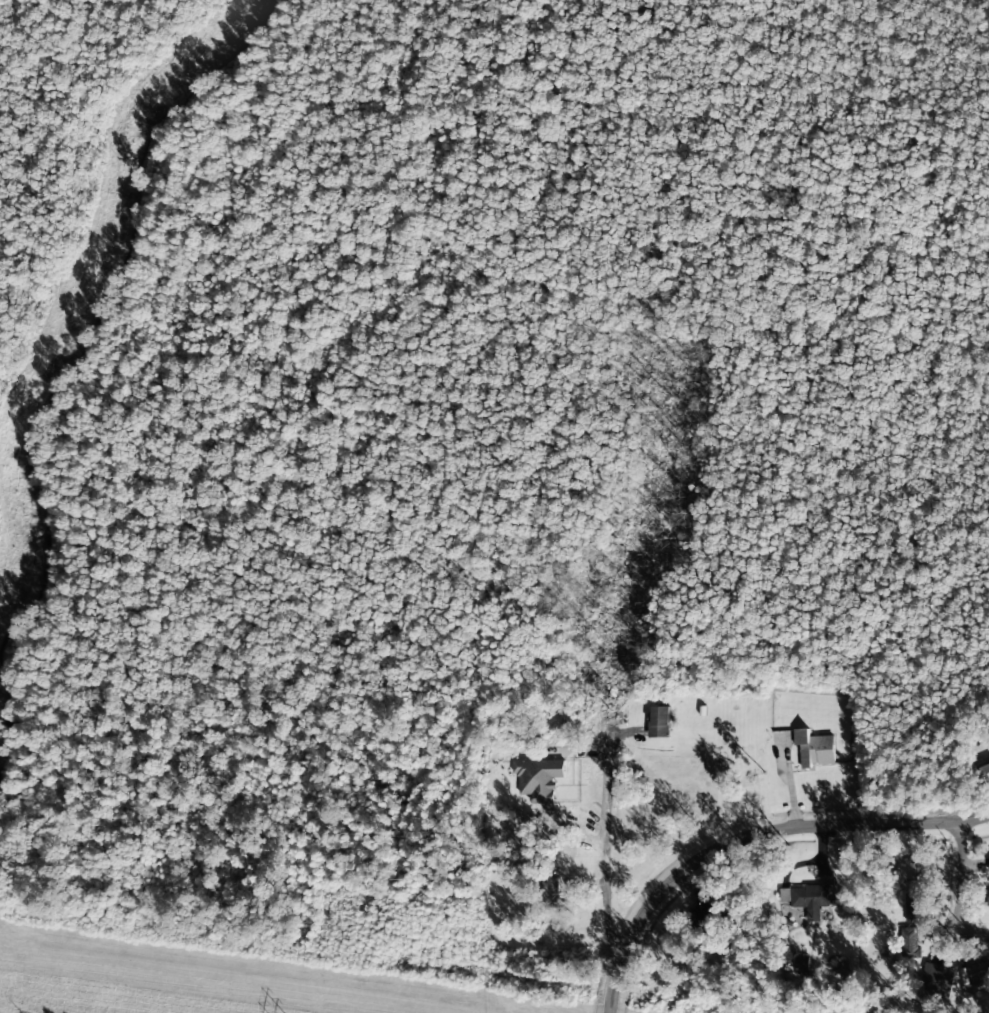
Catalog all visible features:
building: (658, 722)
building: (814, 748)
building: (982, 765)
building: (538, 778)
road: (604, 829)
road: (772, 832)
building: (913, 874)
road: (959, 874)
building: (809, 898)
building: (987, 900)
building: (914, 904)
building: (910, 941)
building: (798, 966)
building: (979, 974)

